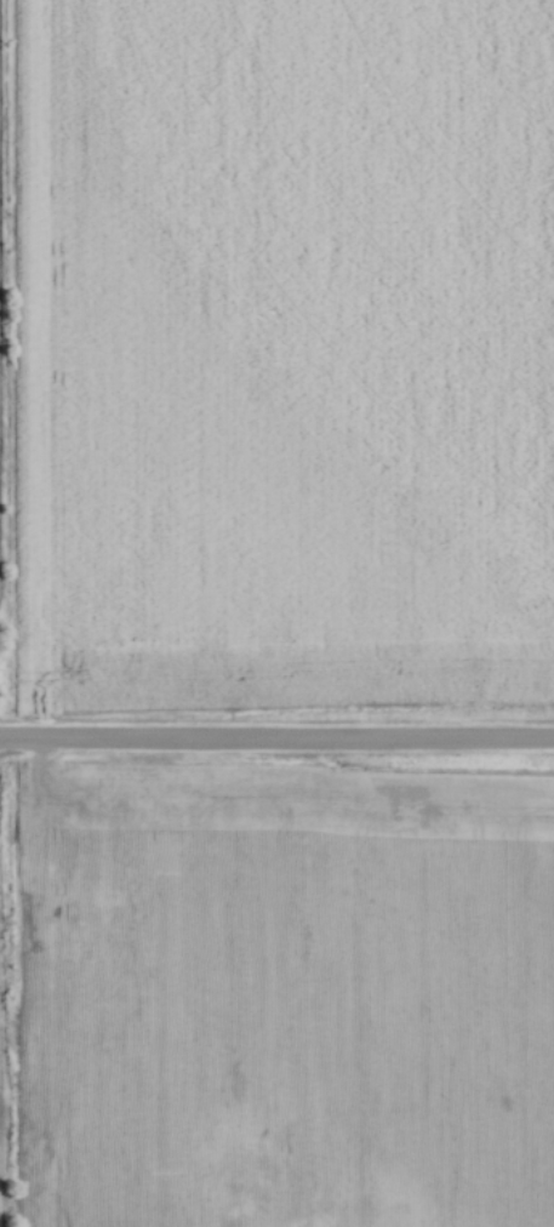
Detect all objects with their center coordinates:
road: (276, 744)

